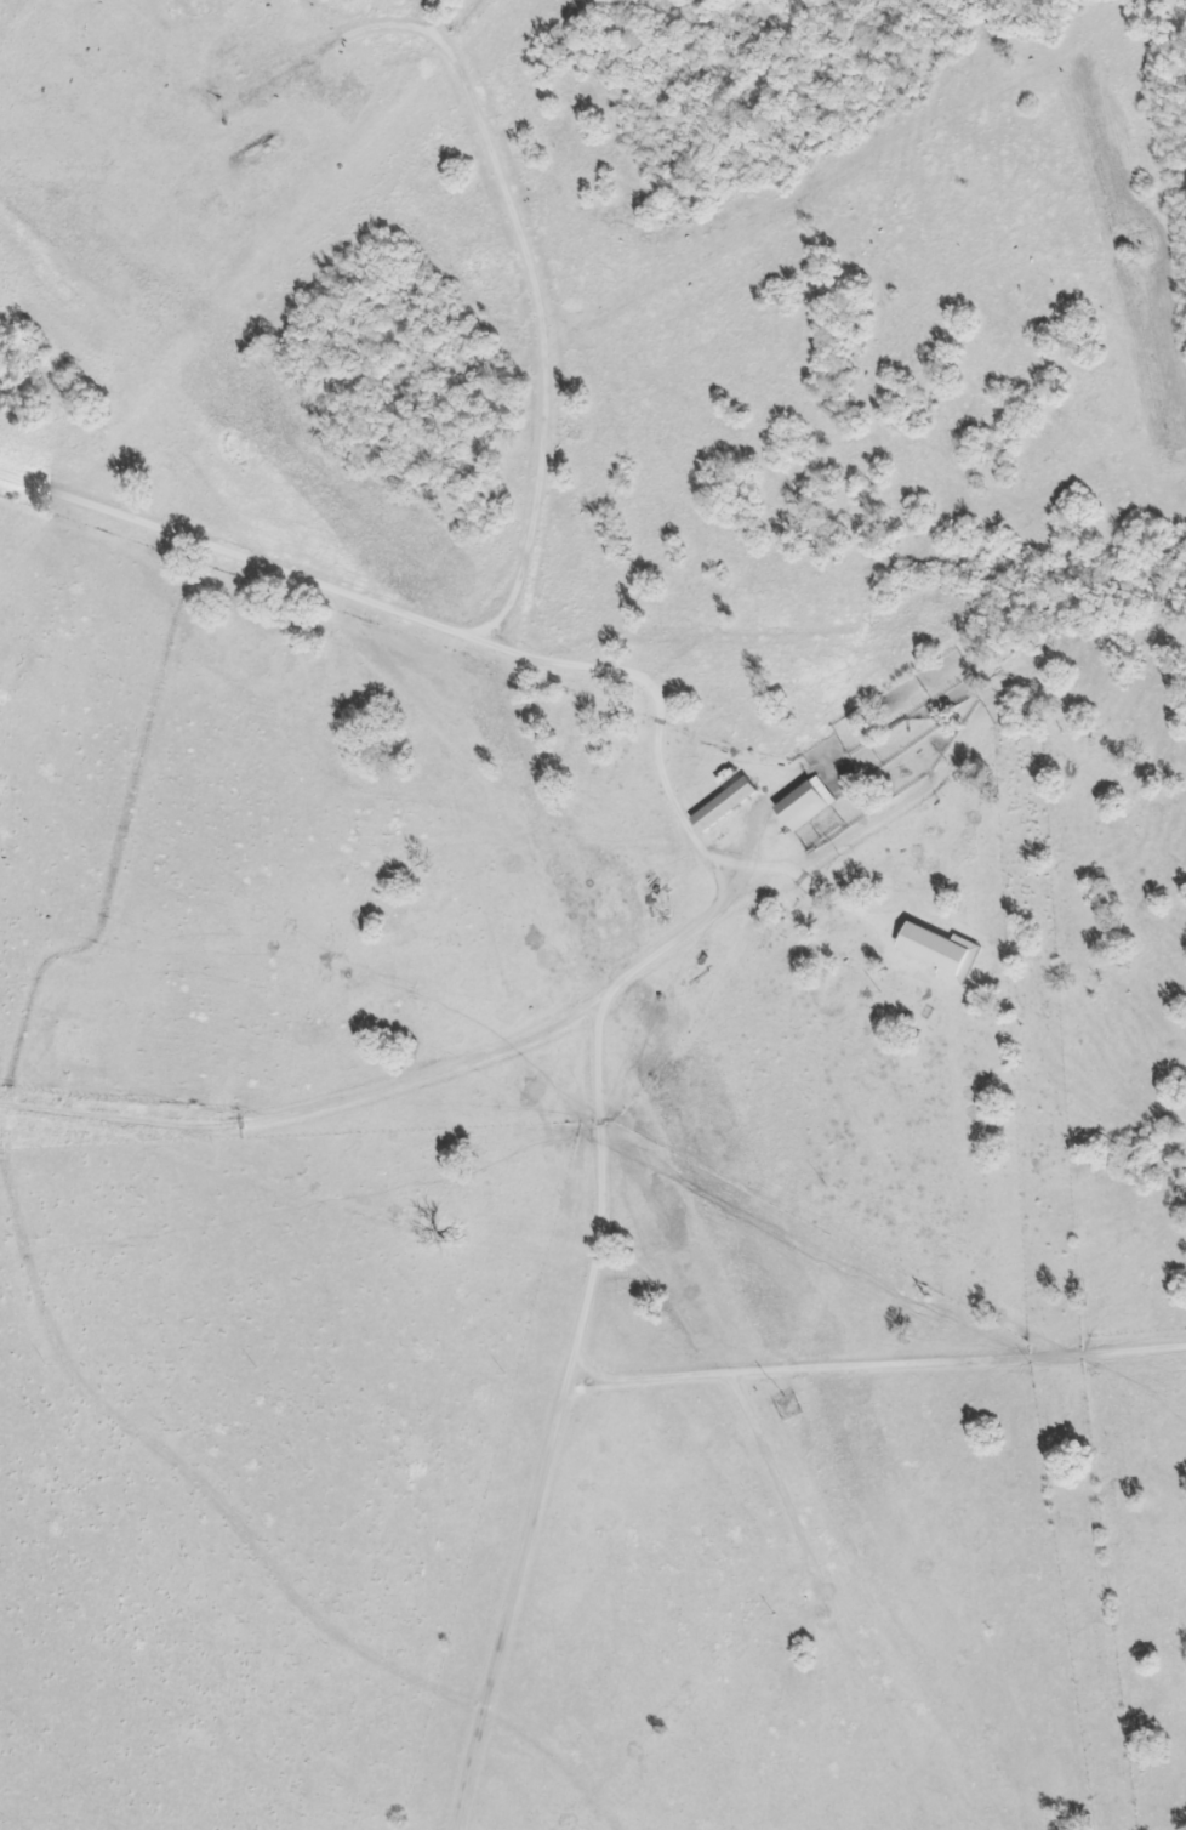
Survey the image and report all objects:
road: (444, 21)
road: (530, 265)
road: (249, 559)
road: (671, 784)
building: (724, 806)
building: (804, 806)
building: (940, 953)
road: (595, 1183)
road: (521, 1605)

